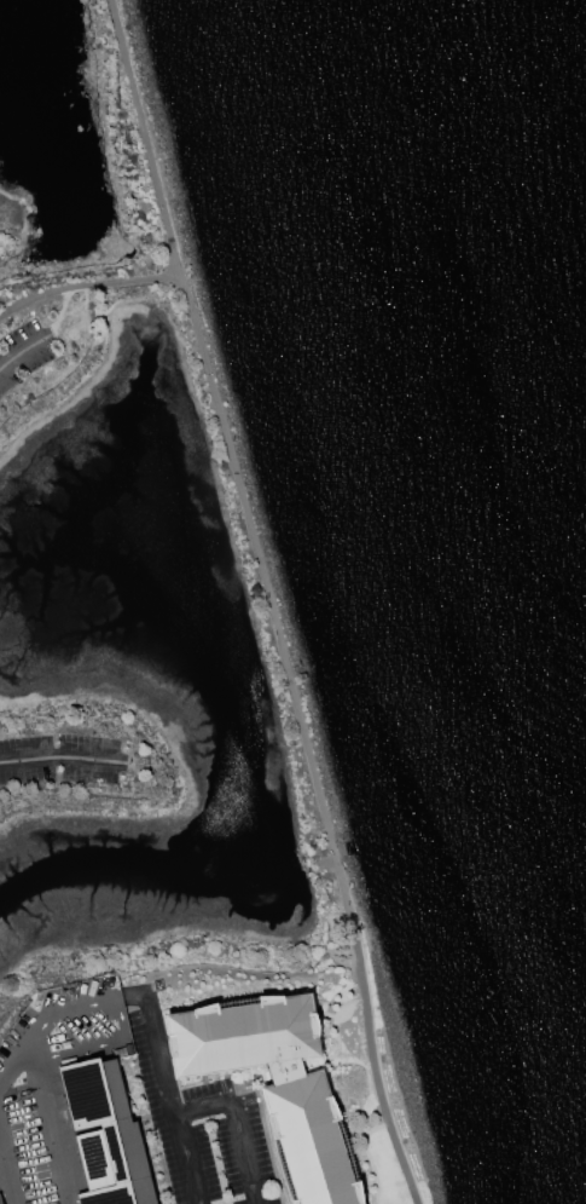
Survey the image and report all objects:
road: (88, 288)
road: (18, 358)
road: (265, 603)
road: (58, 757)
road: (144, 1010)
road: (118, 1015)
road: (79, 1045)
park: (341, 1045)
building: (272, 1084)
road: (48, 1121)
road: (234, 1125)
building: (103, 1134)
road: (7, 1173)
building: (0, 1203)

